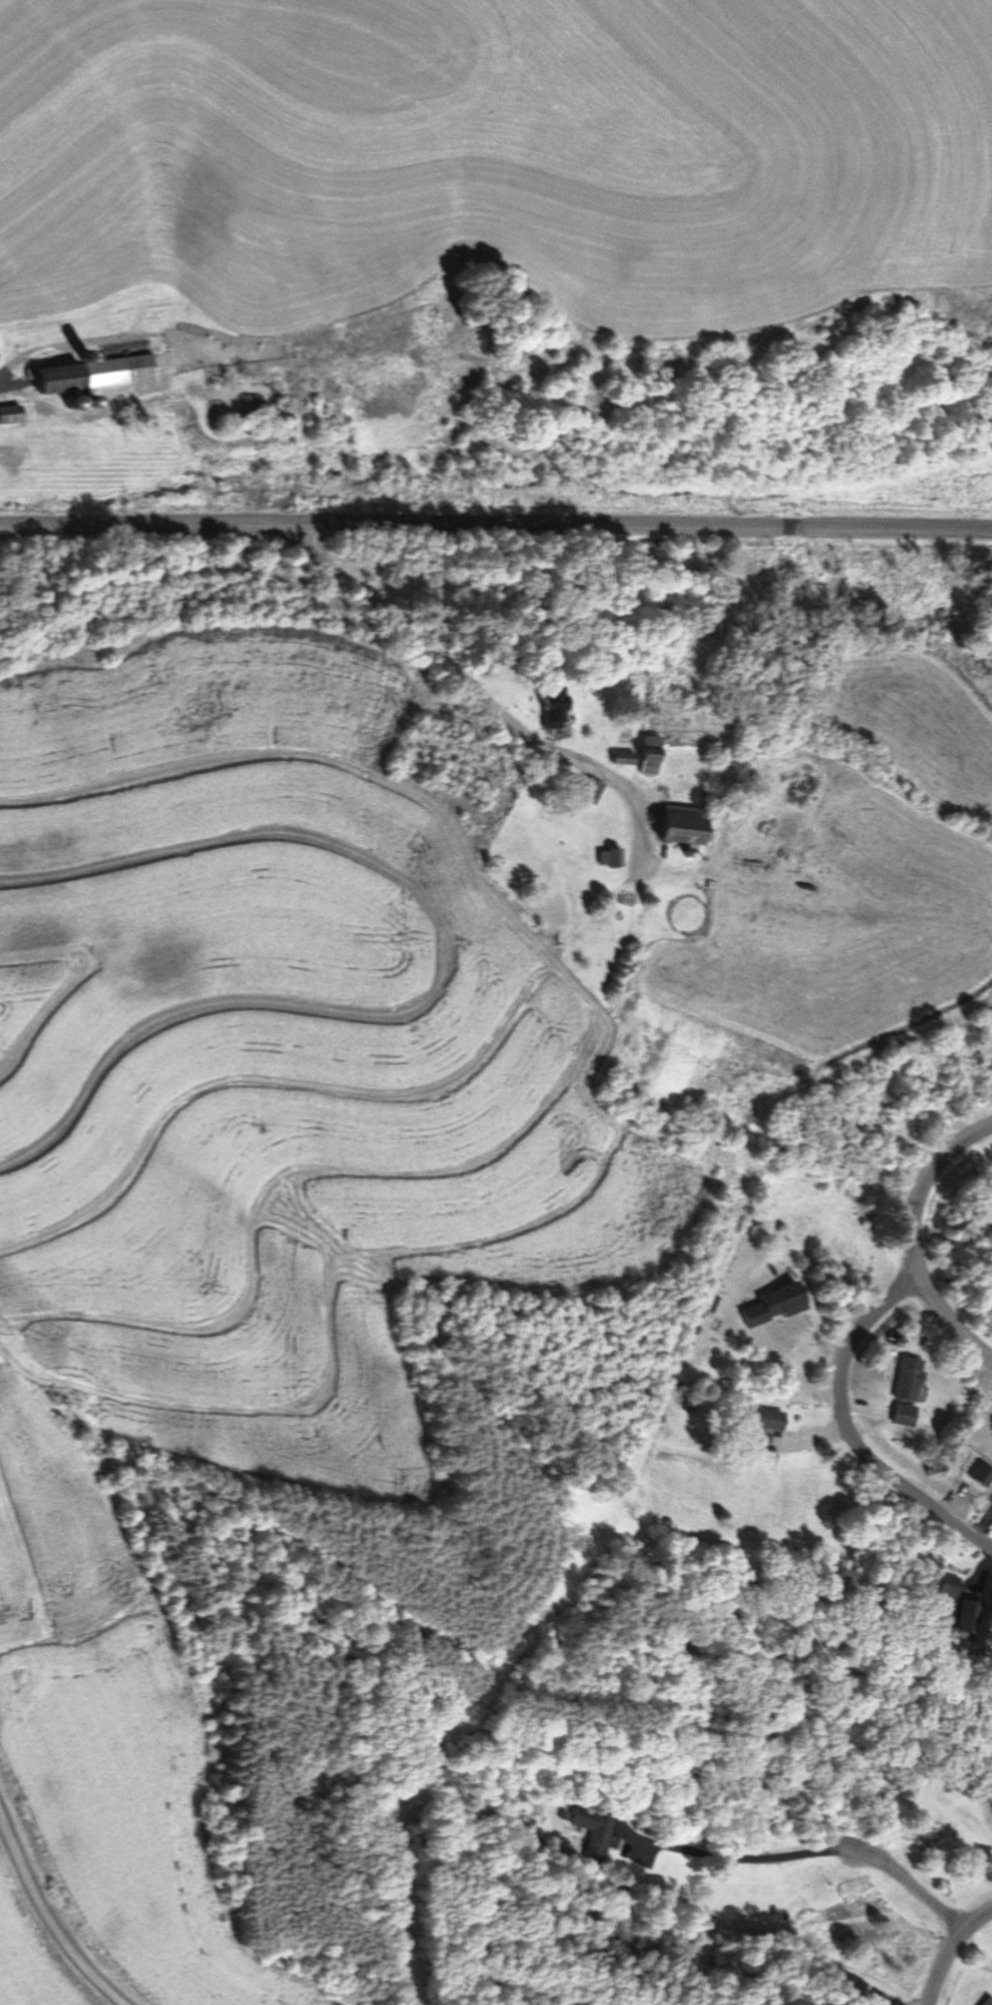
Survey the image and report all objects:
road: (14, 366)
building: (94, 373)
building: (10, 413)
road: (496, 524)
road: (424, 604)
building: (554, 705)
building: (648, 754)
building: (677, 828)
building: (606, 857)
road: (917, 1239)
building: (907, 1379)
building: (903, 1415)
building: (769, 1420)
road: (846, 1428)
building: (968, 1618)
road: (906, 1880)
road: (50, 1917)
road: (949, 1950)
building: (987, 2001)

